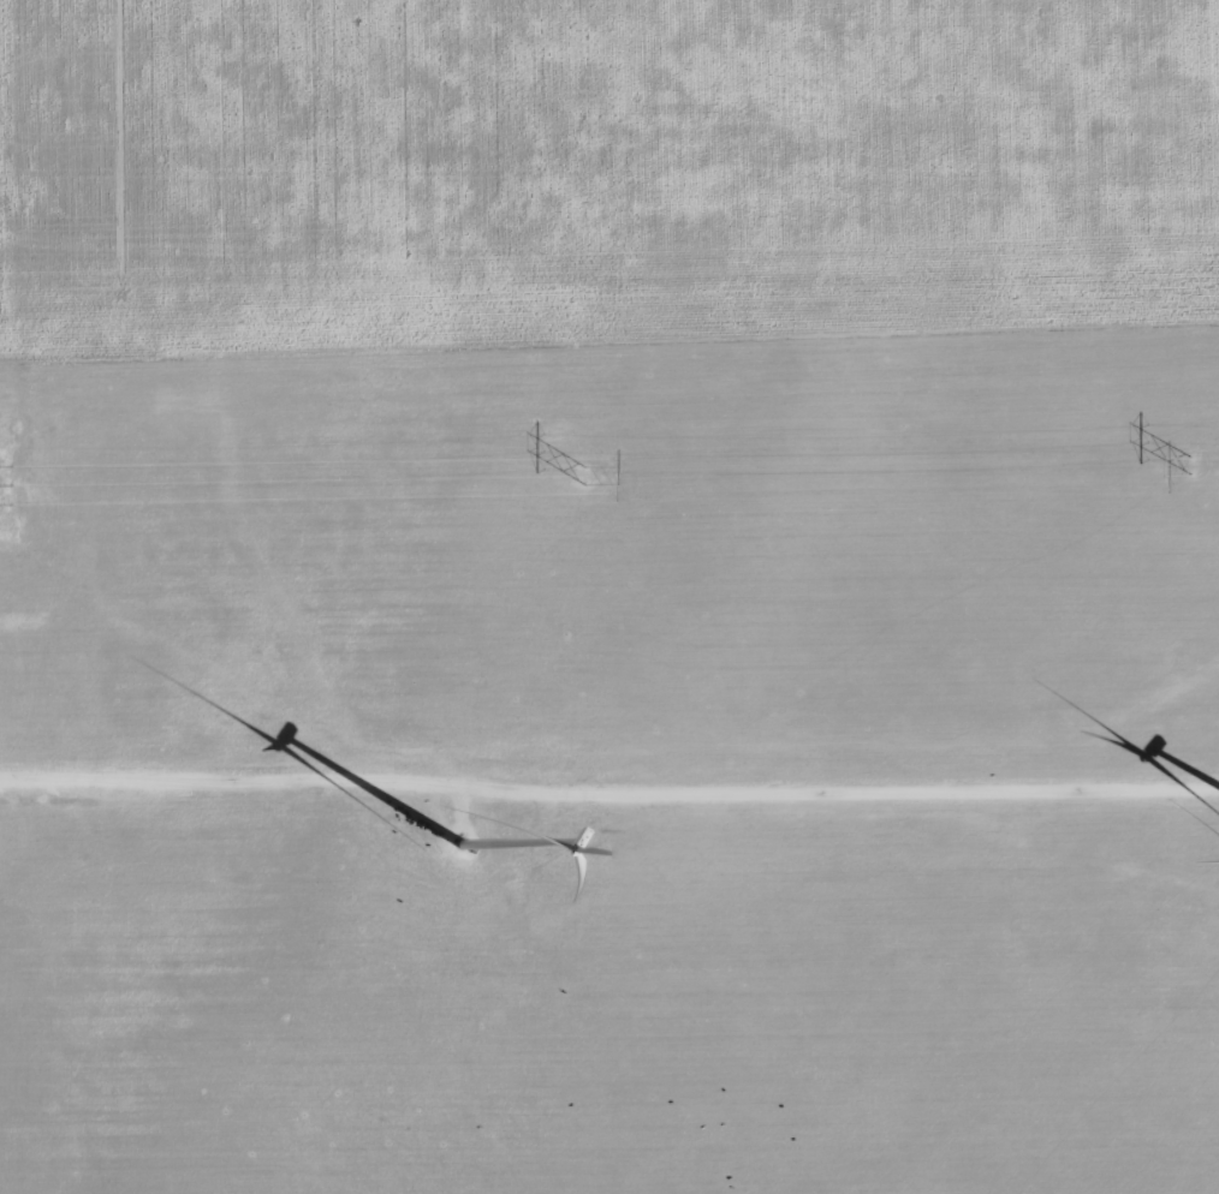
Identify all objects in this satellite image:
power tower: (1191, 467)
power tower: (579, 474)
wind turbine: (464, 849)

